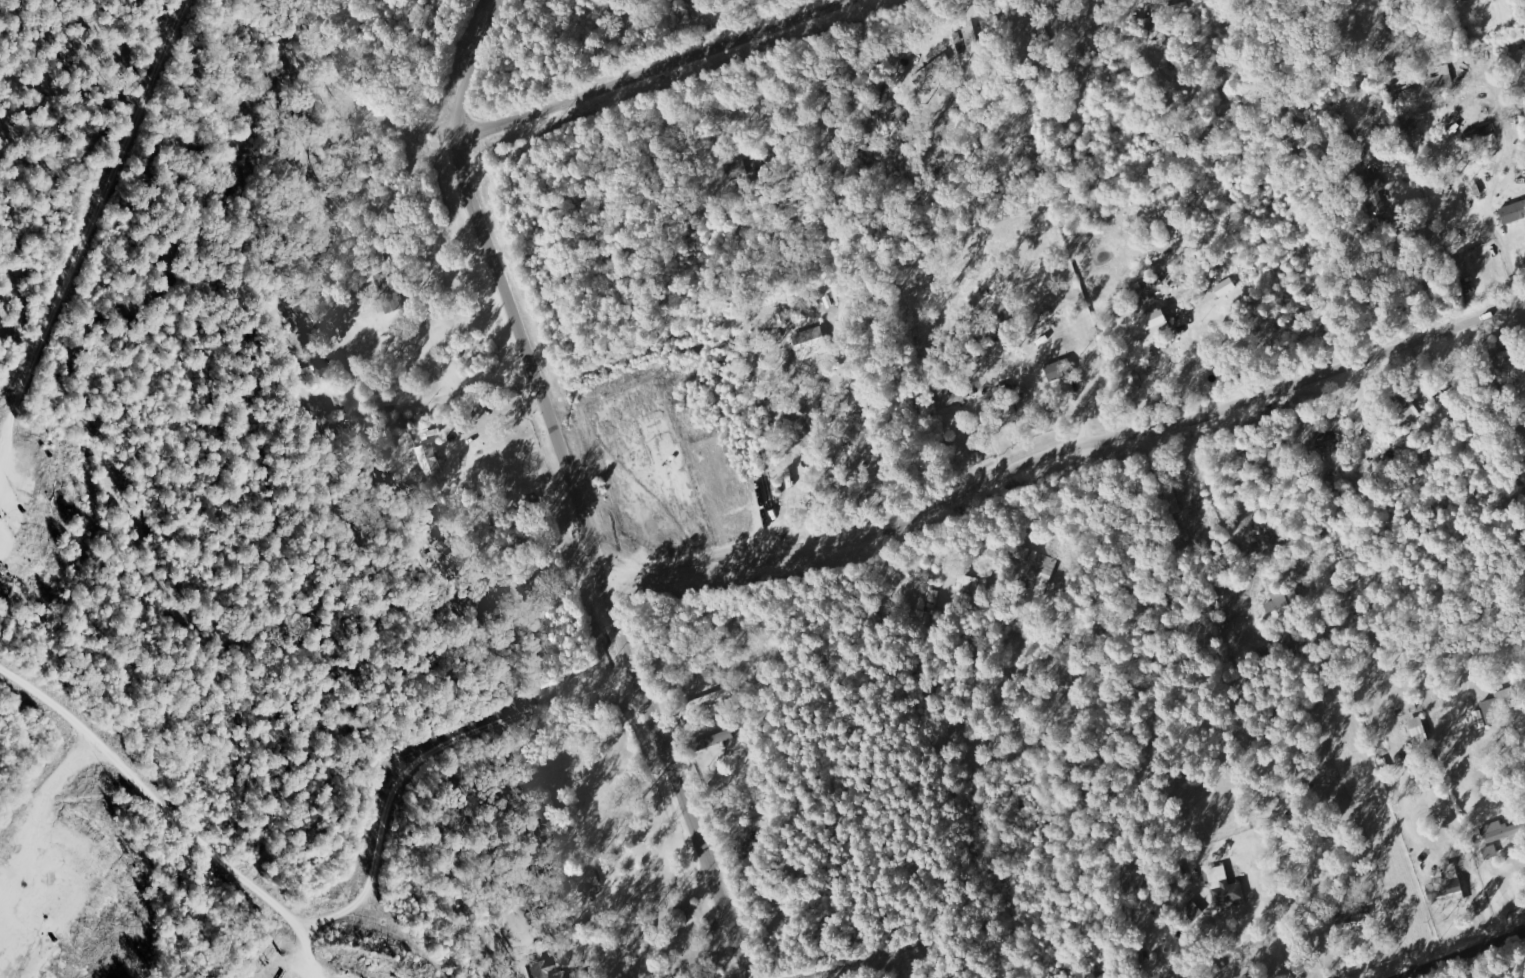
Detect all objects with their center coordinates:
building: (1465, 0)
building: (1171, 9)
building: (990, 20)
building: (973, 40)
road: (471, 67)
road: (650, 69)
building: (1480, 132)
building: (739, 167)
building: (1374, 178)
building: (1514, 212)
building: (1225, 287)
building: (1157, 322)
building: (809, 341)
building: (1061, 370)
building: (951, 396)
building: (1408, 407)
building: (1329, 442)
road: (1064, 452)
building: (429, 460)
building: (794, 487)
road: (594, 560)
building: (1035, 569)
building: (970, 586)
building: (1284, 603)
building: (710, 699)
building: (1489, 714)
building: (716, 740)
road: (416, 758)
building: (543, 817)
building: (1502, 832)
building: (1491, 852)
building: (590, 878)
building: (1447, 885)
building: (1225, 888)
building: (1355, 920)
road: (591, 954)
road: (1462, 954)
building: (544, 968)

